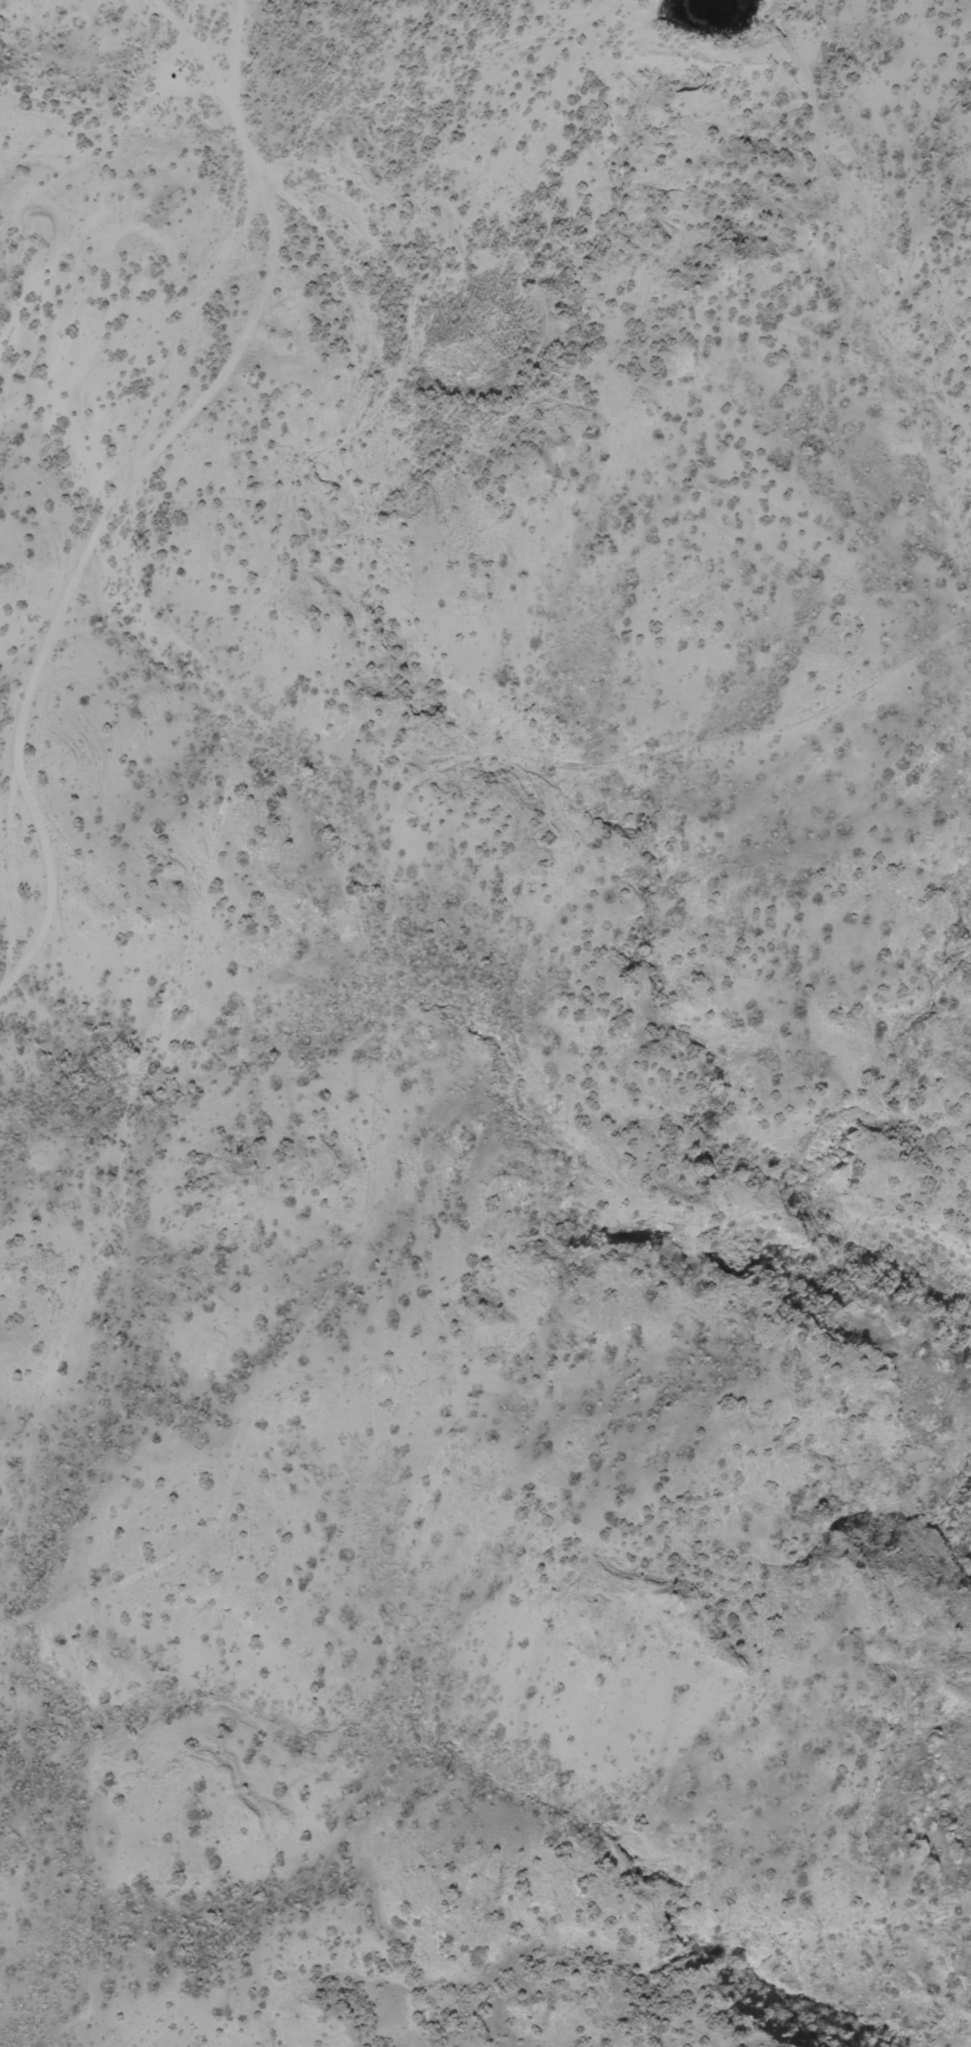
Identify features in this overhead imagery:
road: (137, 197)
road: (227, 425)

